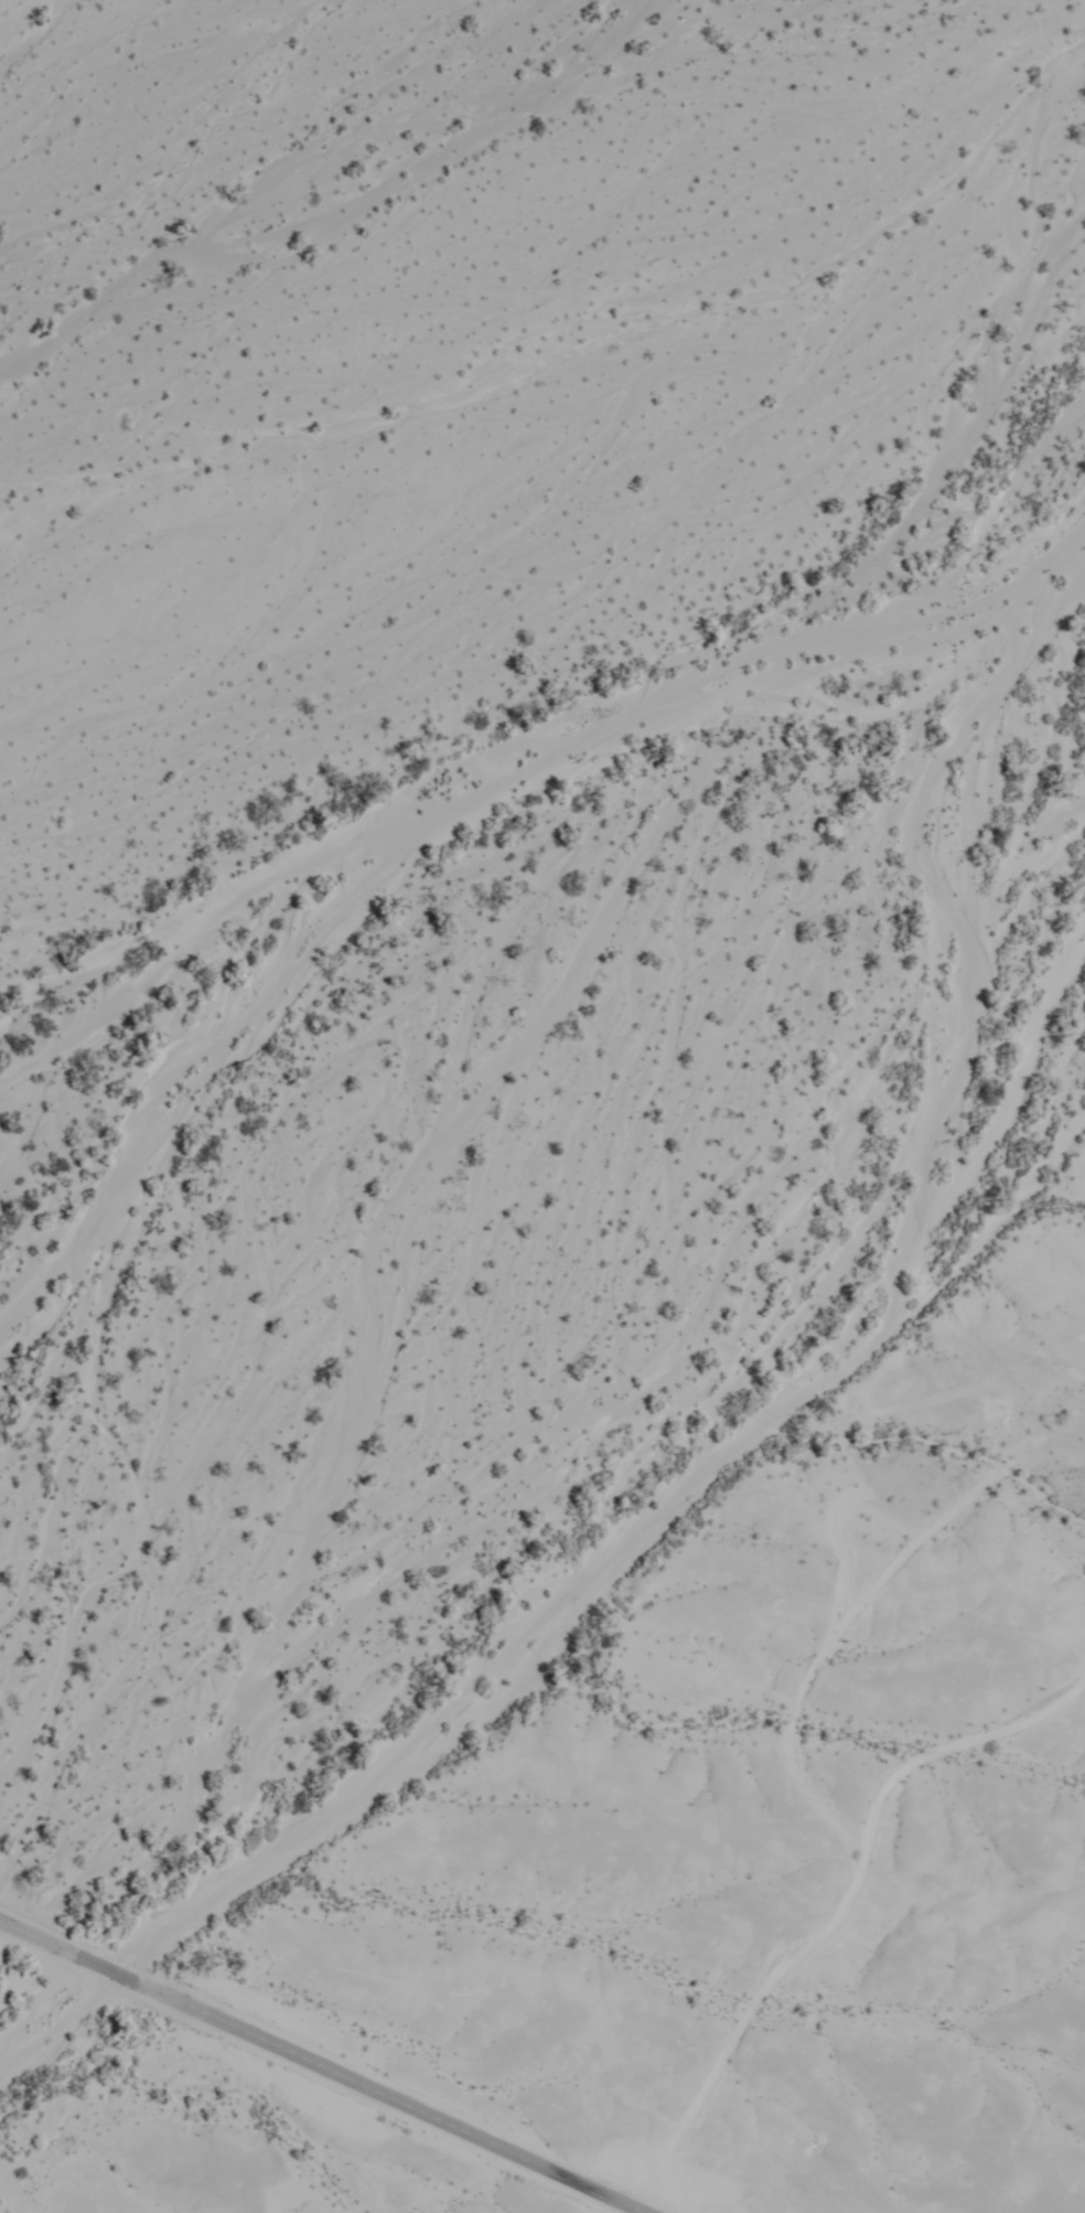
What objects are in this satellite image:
road: (845, 1922)
road: (321, 2066)

